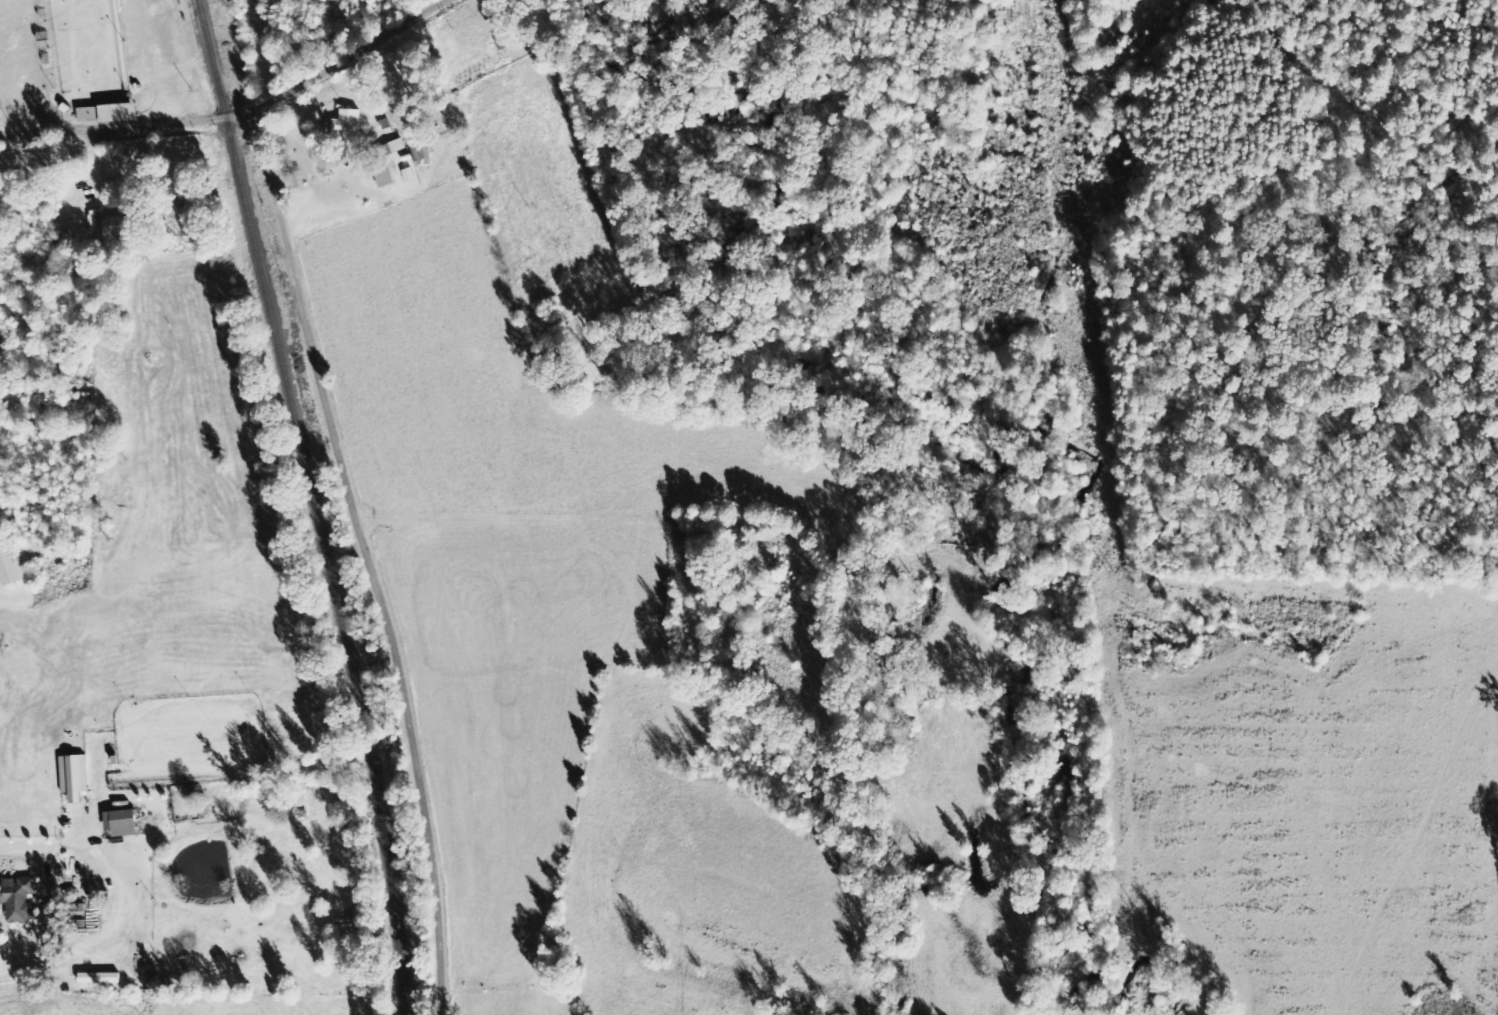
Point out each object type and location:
road: (262, 109)
building: (108, 115)
building: (349, 135)
building: (409, 175)
building: (385, 177)
railway: (320, 503)
road: (365, 561)
building: (9, 567)
power tower: (1103, 574)
building: (74, 777)
building: (122, 823)
building: (19, 899)
power tower: (1134, 910)
building: (100, 978)

